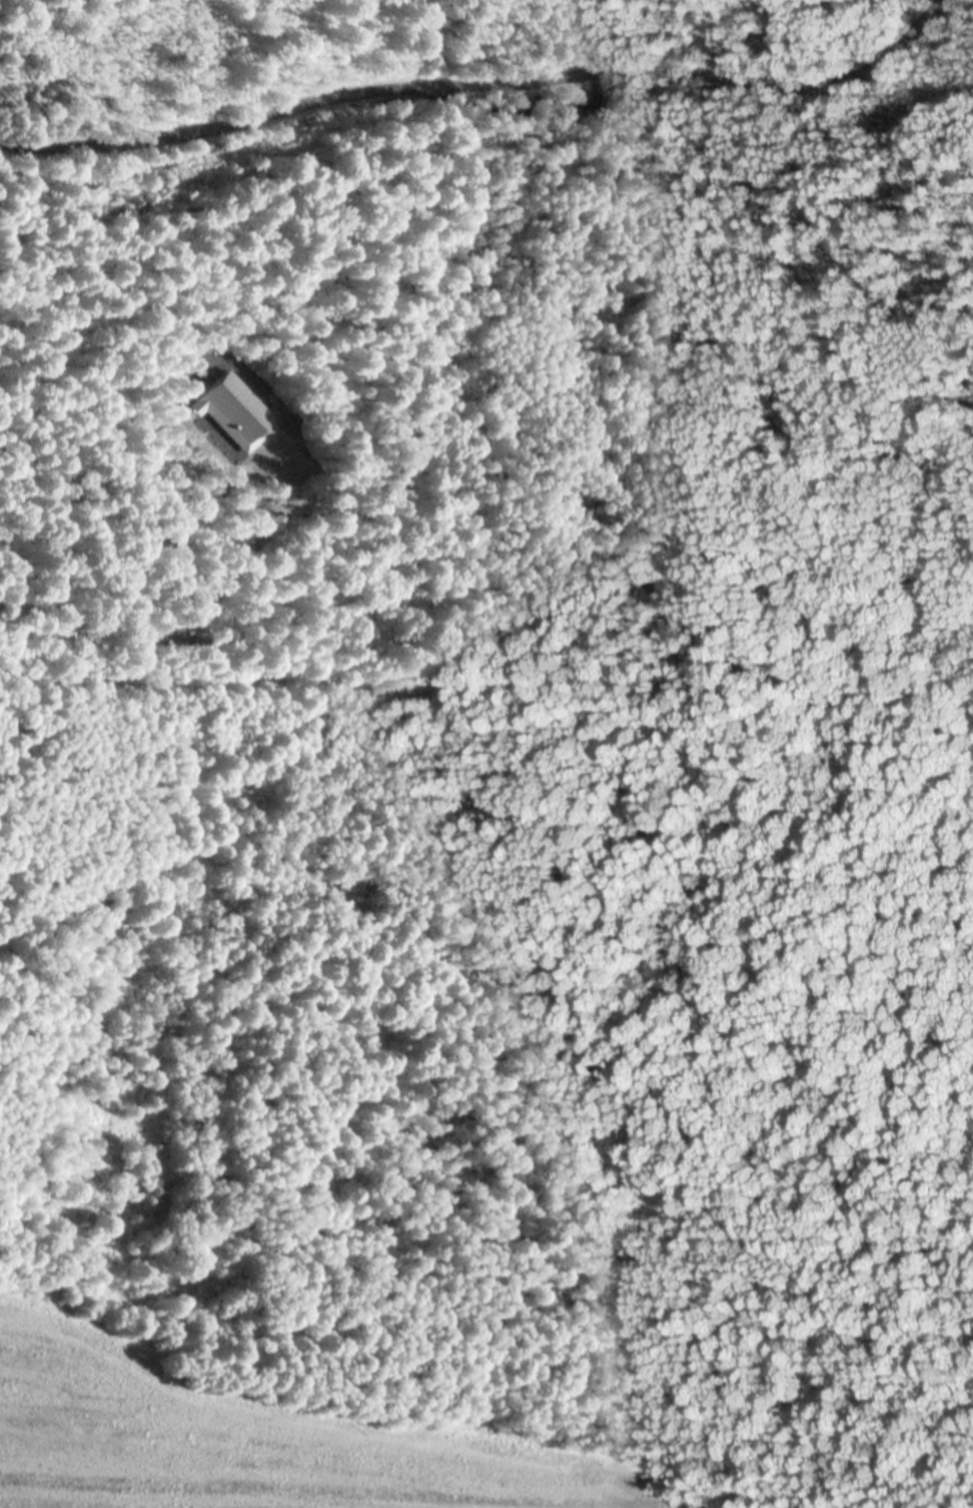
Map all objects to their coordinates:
road: (480, 81)

